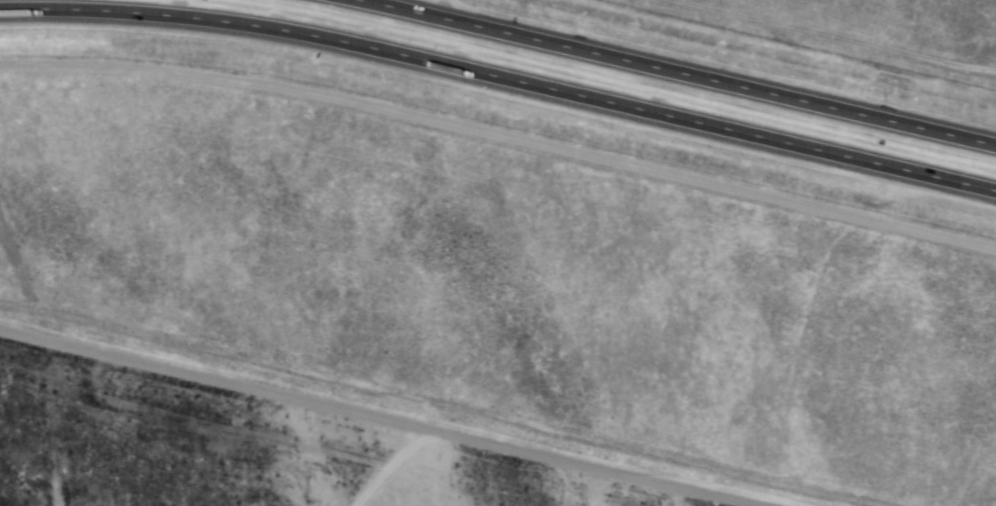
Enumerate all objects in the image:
road: (831, 38)
road: (501, 71)
road: (681, 73)
road: (500, 140)
road: (21, 286)
road: (381, 417)
road: (44, 422)
road: (380, 464)
road: (420, 471)

